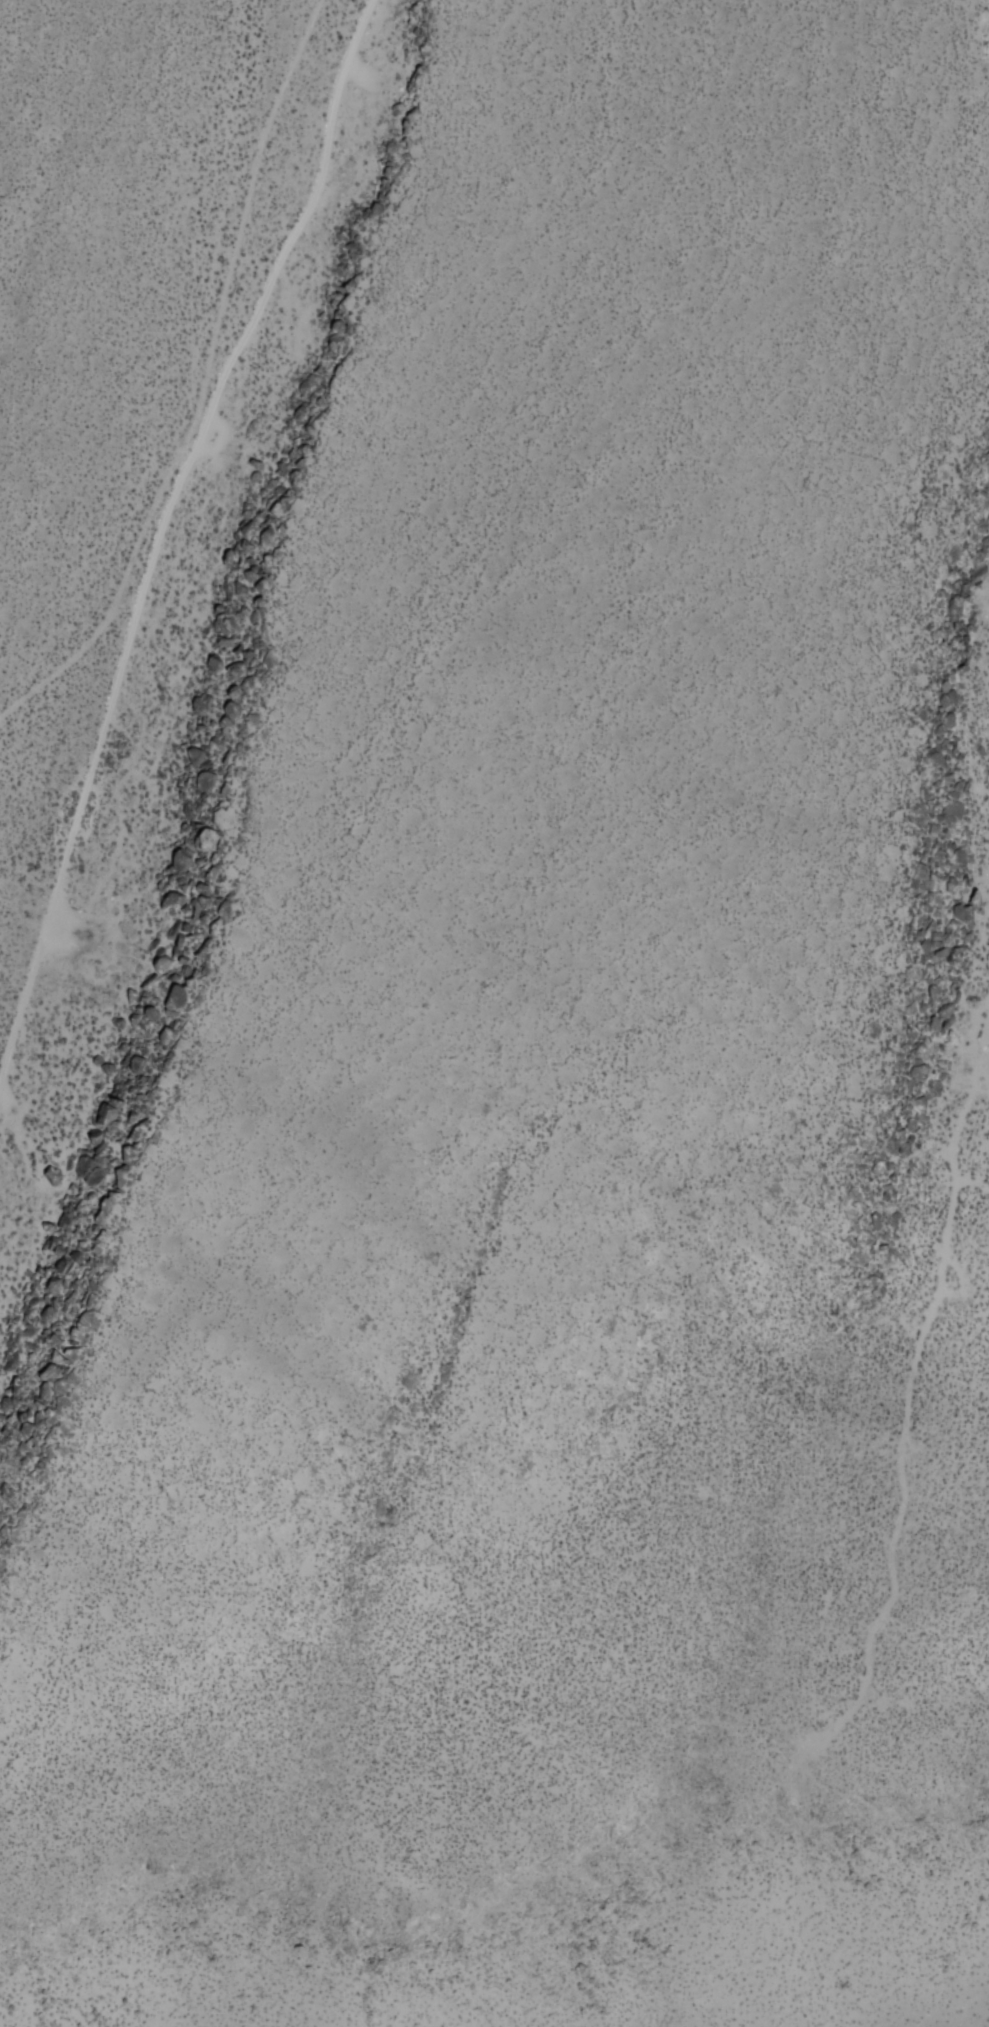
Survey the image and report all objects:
road: (200, 381)
road: (159, 523)
road: (979, 1084)
road: (910, 1353)

